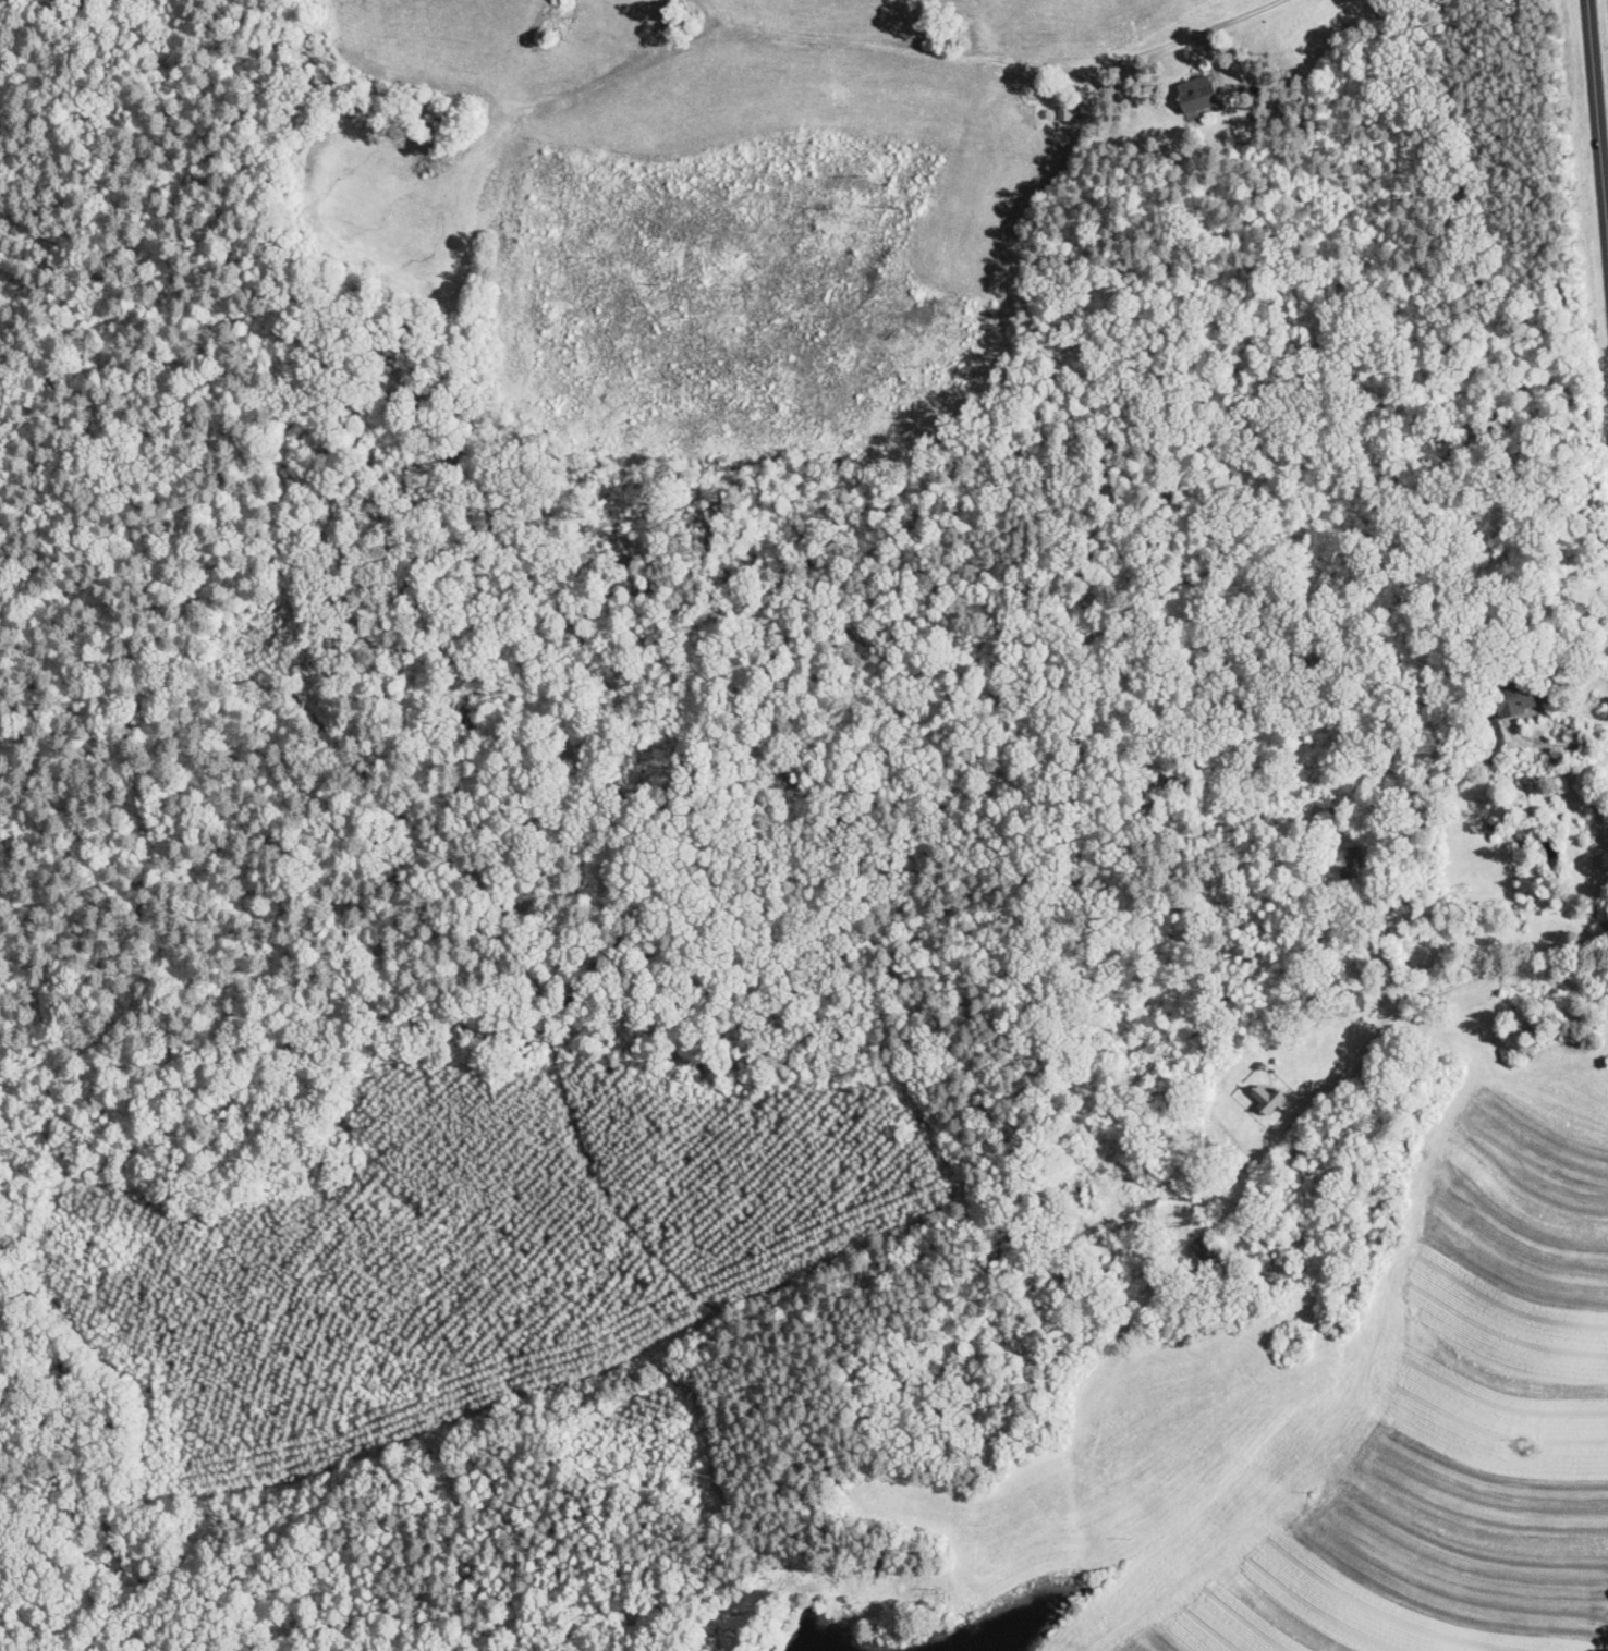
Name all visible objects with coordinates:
building: (1197, 95)
building: (1070, 113)
road: (1596, 131)
building: (1514, 700)
building: (1558, 857)
building: (1351, 863)
building: (1207, 1248)

